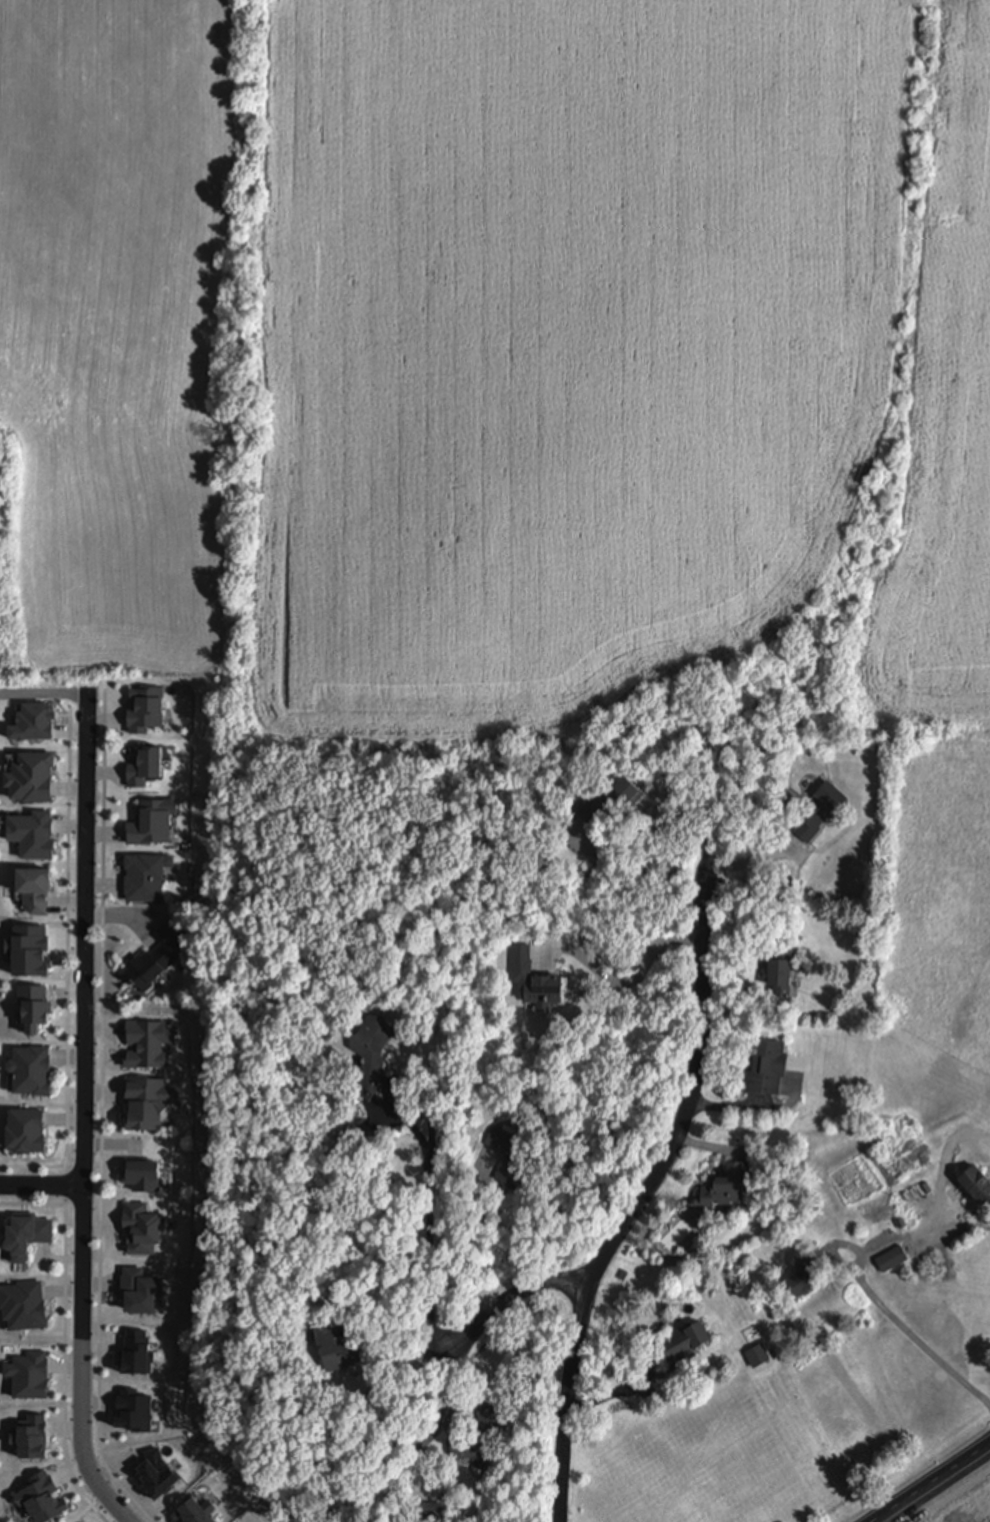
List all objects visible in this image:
crop: (503, 364)
road: (43, 695)
building: (145, 709)
building: (35, 722)
building: (145, 768)
building: (608, 799)
building: (819, 809)
building: (151, 823)
road: (661, 825)
building: (34, 835)
building: (546, 860)
building: (145, 878)
building: (36, 890)
building: (30, 950)
road: (68, 951)
building: (157, 953)
building: (783, 968)
road: (633, 978)
building: (32, 1007)
road: (101, 1015)
building: (372, 1050)
building: (766, 1065)
building: (28, 1070)
building: (149, 1103)
road: (84, 1113)
building: (22, 1131)
building: (367, 1136)
building: (511, 1152)
road: (426, 1164)
road: (50, 1166)
building: (141, 1177)
building: (975, 1181)
road: (41, 1184)
building: (724, 1186)
road: (642, 1194)
road: (41, 1204)
road: (91, 1206)
building: (878, 1208)
building: (900, 1222)
building: (142, 1229)
building: (29, 1235)
road: (469, 1241)
road: (862, 1256)
building: (891, 1258)
road: (65, 1262)
building: (623, 1272)
building: (804, 1276)
building: (141, 1292)
road: (511, 1296)
building: (23, 1304)
building: (675, 1345)
building: (332, 1347)
building: (479, 1431)
road: (63, 1437)
road: (97, 1440)
road: (928, 1482)
road: (952, 1497)
road: (87, 1507)
park: (8, 1510)
building: (428, 1511)

